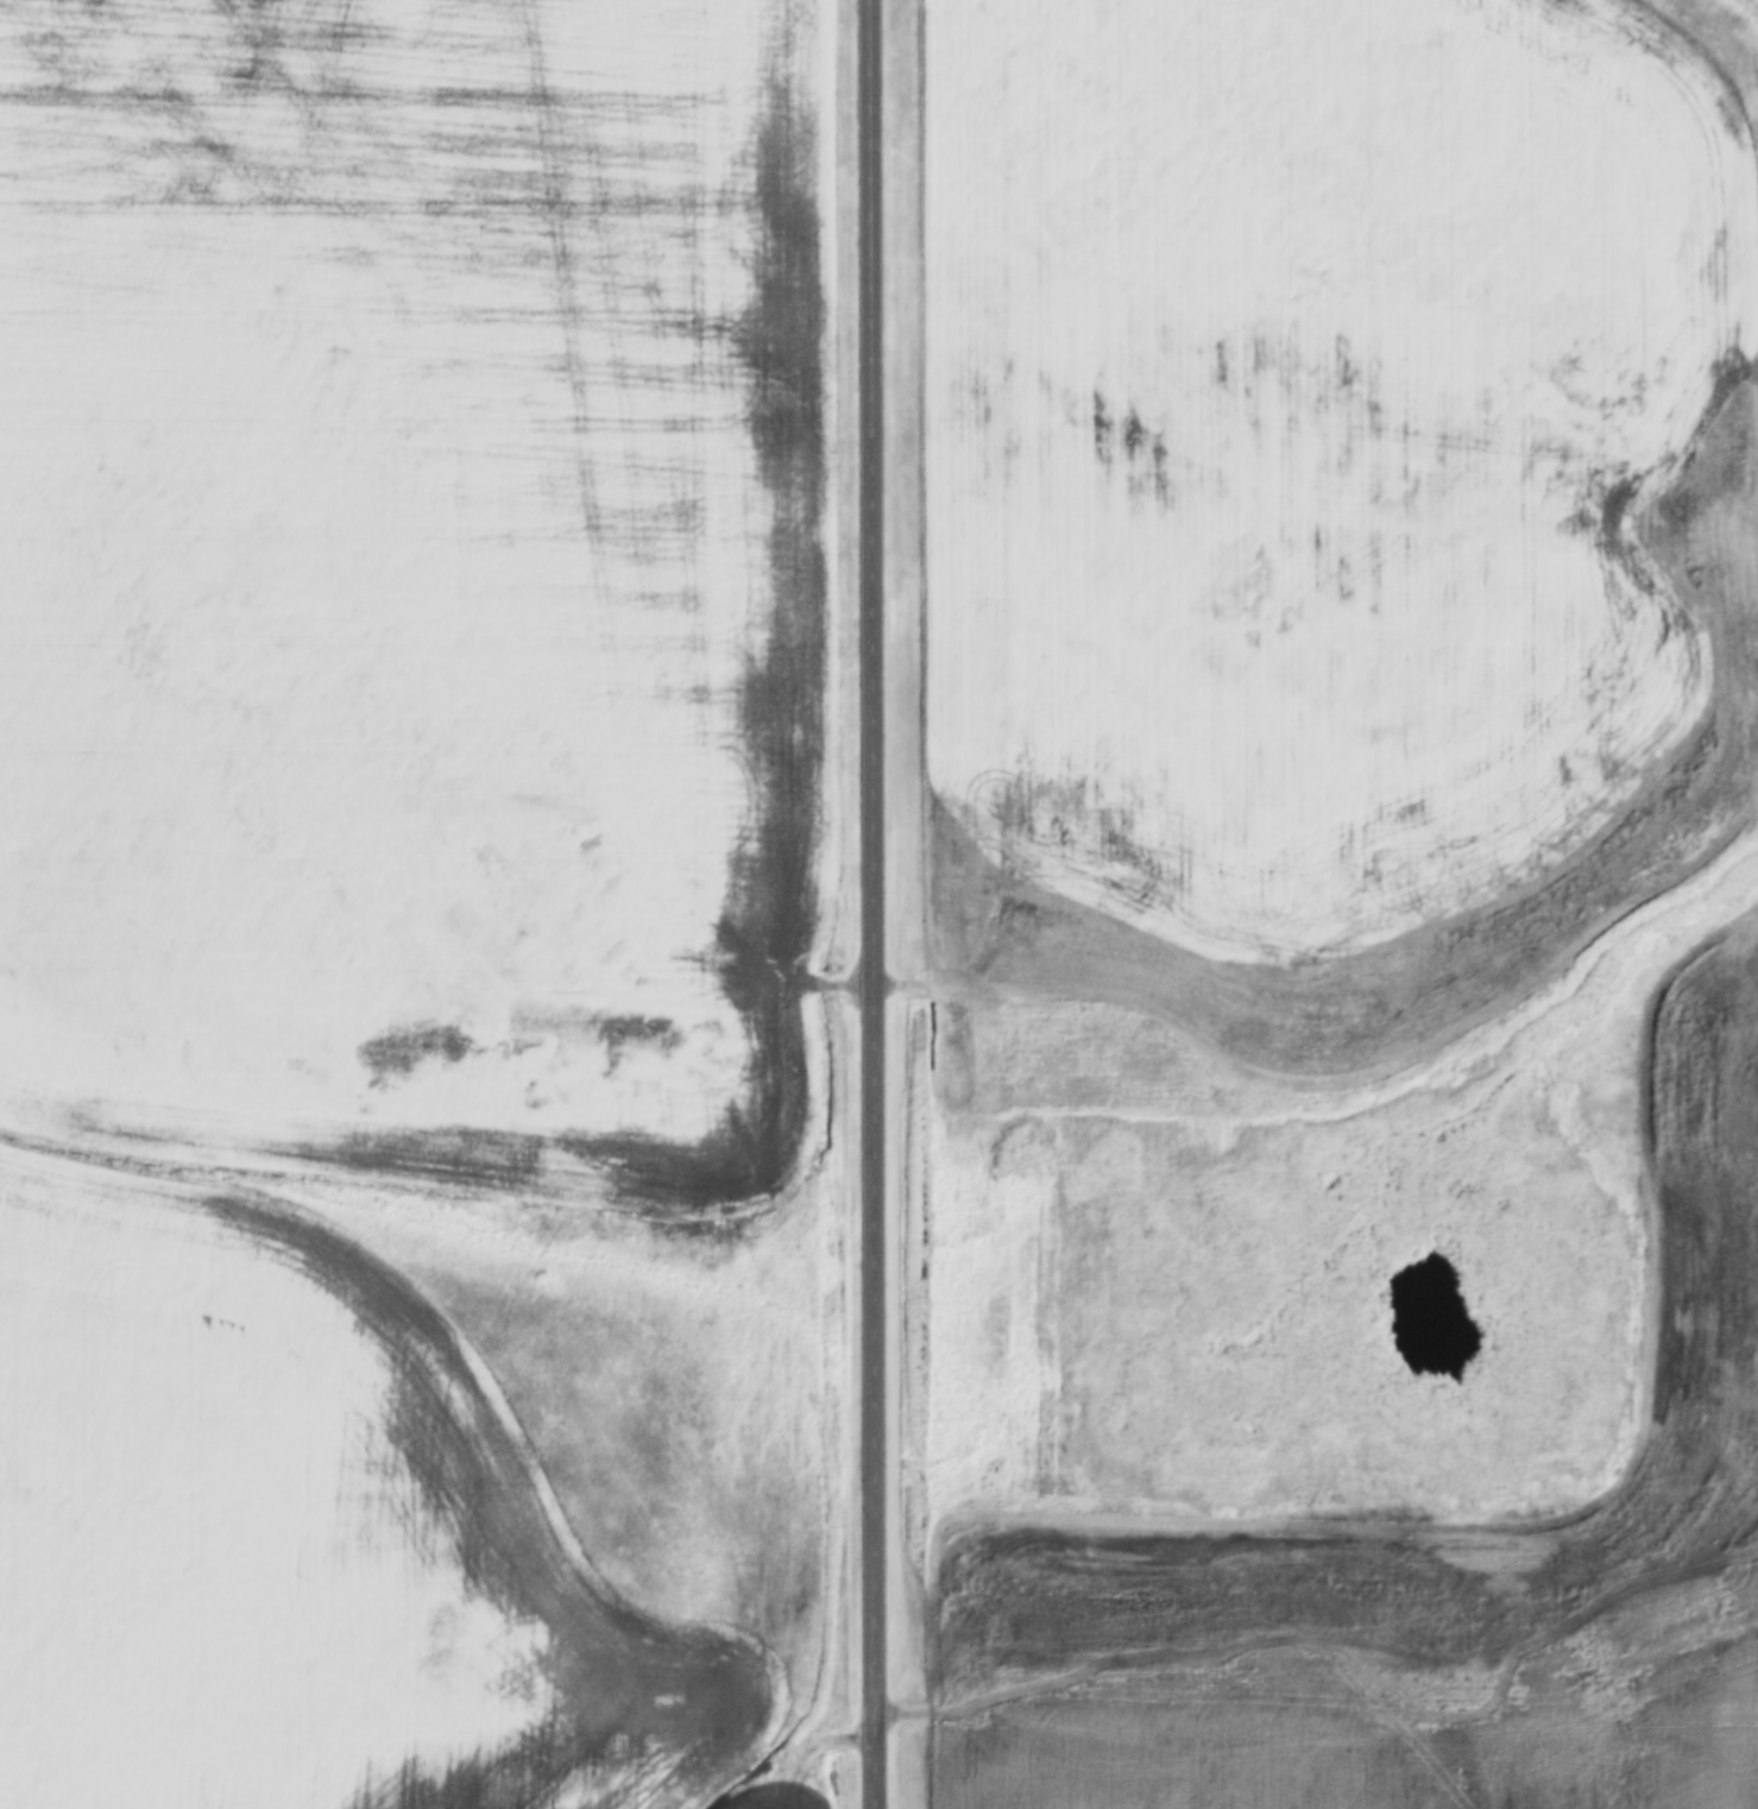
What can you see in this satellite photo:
road: (870, 904)
road: (459, 1433)

